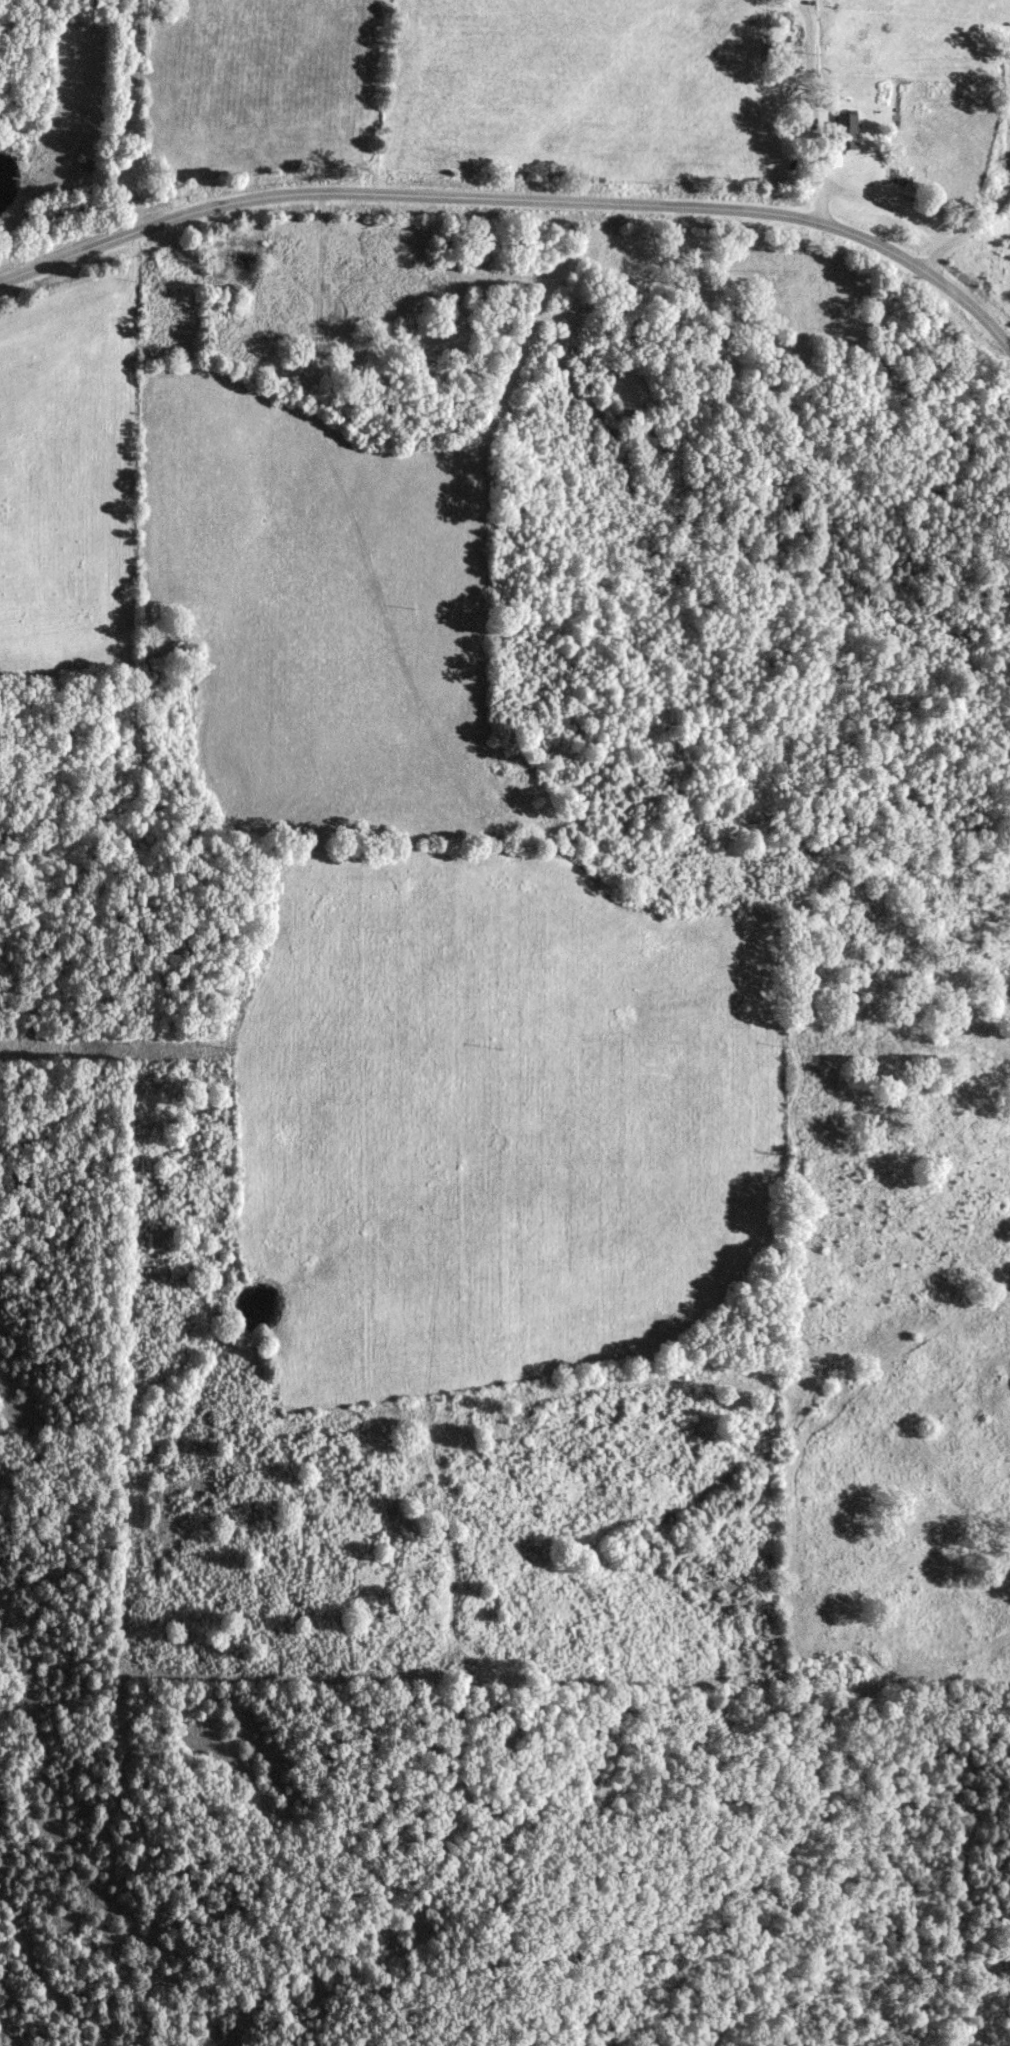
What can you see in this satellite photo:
building: (839, 129)
road: (543, 209)
road: (983, 217)

